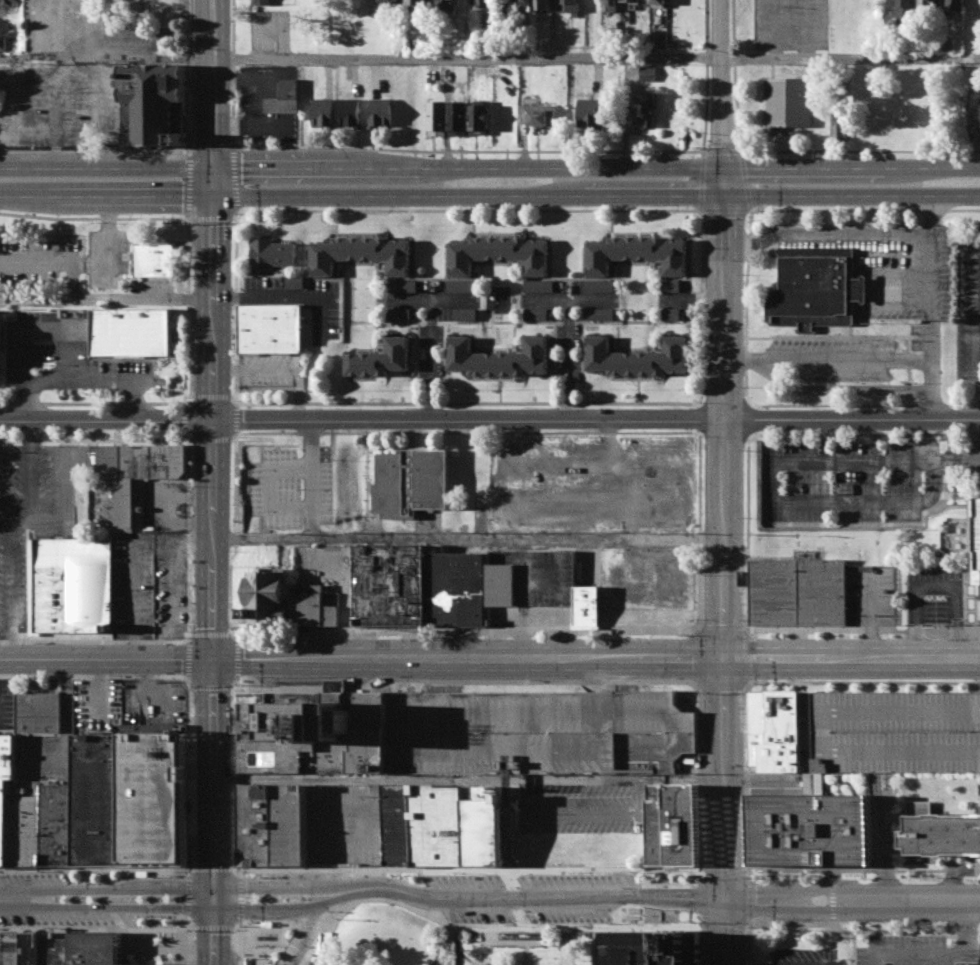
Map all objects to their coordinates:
building: (630, 0)
building: (263, 2)
building: (10, 3)
building: (416, 3)
building: (541, 4)
building: (657, 4)
building: (929, 4)
building: (447, 5)
building: (525, 5)
building: (388, 6)
building: (569, 6)
building: (610, 6)
building: (905, 6)
building: (955, 6)
building: (485, 13)
building: (506, 15)
parking lot: (791, 25)
road: (775, 28)
road: (808, 28)
parking lot: (93, 30)
building: (653, 40)
building: (3, 43)
building: (949, 43)
road: (107, 57)
road: (596, 58)
building: (646, 73)
road: (724, 84)
road: (213, 85)
building: (284, 97)
building: (787, 103)
building: (153, 104)
parking lot: (59, 105)
building: (644, 110)
building: (323, 112)
building: (349, 112)
building: (380, 112)
building: (592, 112)
building: (538, 114)
building: (438, 117)
building: (458, 118)
building: (480, 118)
building: (841, 122)
road: (169, 151)
road: (106, 169)
road: (596, 169)
traffic signals: (724, 169)
traffic signals: (212, 170)
road: (211, 184)
road: (595, 196)
traffic signals: (724, 196)
road: (105, 197)
traffic signals: (211, 198)
road: (933, 208)
road: (975, 232)
road: (107, 235)
road: (860, 235)
road: (749, 244)
building: (271, 253)
building: (500, 253)
building: (638, 253)
building: (361, 254)
parking lot: (36, 261)
building: (155, 261)
road: (53, 262)
road: (932, 276)
building: (294, 282)
building: (539, 285)
building: (671, 285)
building: (401, 286)
building: (461, 286)
building: (599, 286)
building: (816, 288)
road: (105, 299)
road: (409, 299)
road: (570, 299)
road: (694, 299)
parking lot: (300, 300)
parking lot: (431, 300)
parking lot: (569, 300)
parking lot: (675, 300)
parking lot: (969, 308)
road: (974, 312)
building: (398, 313)
building: (672, 313)
building: (465, 314)
building: (536, 314)
building: (599, 314)
road: (40, 327)
building: (270, 328)
building: (130, 332)
road: (432, 335)
road: (933, 339)
parking lot: (431, 353)
parking lot: (569, 353)
building: (637, 356)
building: (499, 357)
building: (380, 358)
road: (570, 358)
parking lot: (65, 359)
road: (830, 361)
road: (277, 369)
parking lot: (272, 370)
road: (82, 378)
road: (977, 387)
road: (934, 390)
road: (974, 402)
road: (726, 414)
road: (489, 418)
road: (210, 427)
road: (466, 432)
road: (766, 434)
road: (233, 437)
road: (211, 438)
road: (96, 439)
road: (935, 464)
parking lot: (979, 466)
road: (33, 470)
building: (137, 476)
road: (313, 477)
parking lot: (850, 481)
building: (411, 482)
road: (70, 486)
parking lot: (291, 487)
road: (773, 495)
parking lot: (35, 516)
road: (25, 524)
road: (8, 526)
road: (467, 536)
road: (4, 538)
building: (978, 541)
building: (70, 584)
building: (389, 584)
parking lot: (149, 586)
road: (940, 586)
building: (469, 587)
road: (9, 590)
road: (966, 591)
building: (775, 592)
building: (823, 592)
parking lot: (876, 594)
parking lot: (938, 594)
building: (265, 598)
building: (588, 604)
building: (315, 607)
road: (979, 610)
road: (875, 616)
road: (968, 629)
road: (857, 630)
road: (466, 632)
road: (232, 636)
road: (188, 638)
road: (93, 641)
road: (104, 658)
traffic signals: (209, 658)
road: (466, 658)
traffic signals: (724, 659)
road: (852, 659)
road: (186, 678)
road: (230, 678)
road: (187, 681)
road: (745, 682)
road: (862, 682)
building: (36, 711)
building: (906, 727)
building: (776, 731)
building: (312, 732)
building: (539, 732)
parking lot: (895, 733)
road: (210, 772)
building: (4, 774)
road: (724, 778)
road: (468, 780)
building: (148, 799)
building: (88, 800)
parking lot: (346, 824)
building: (400, 824)
building: (439, 824)
building: (658, 824)
building: (682, 824)
building: (51, 825)
building: (255, 825)
building: (288, 825)
building: (813, 829)
building: (483, 831)
building: (19, 832)
building: (944, 835)
road: (883, 841)
road: (211, 868)
road: (237, 869)
road: (96, 870)
road: (187, 873)
traffic signals: (213, 886)
road: (275, 886)
road: (121, 887)
road: (852, 889)
road: (186, 895)
road: (213, 897)
road: (238, 898)
road: (529, 898)
traffic signals: (725, 898)
road: (16, 899)
road: (323, 901)
road: (395, 903)
road: (121, 907)
road: (831, 907)
traffic signals: (213, 909)
road: (261, 909)
road: (851, 911)
road: (966, 920)
road: (186, 921)
road: (723, 922)
road: (238, 923)
road: (306, 923)
road: (316, 923)
road: (598, 926)
road: (861, 926)
road: (212, 927)
road: (269, 927)
road: (97, 929)
road: (725, 931)
road: (487, 934)
road: (280, 935)
road: (213, 937)
road: (298, 937)
park: (388, 938)
road: (247, 941)
road: (702, 941)
building: (323, 942)
road: (513, 942)
road: (256, 944)
road: (748, 944)
road: (269, 945)
road: (188, 946)
road: (238, 946)
road: (567, 947)
building: (49, 948)
building: (649, 948)
parking lot: (914, 948)
building: (8, 949)
building: (26, 949)
building: (87, 949)
road: (292, 950)
road: (455, 950)
road: (908, 951)
road: (973, 951)
road: (525, 953)
road: (302, 956)
parking lot: (804, 957)
road: (478, 960)

